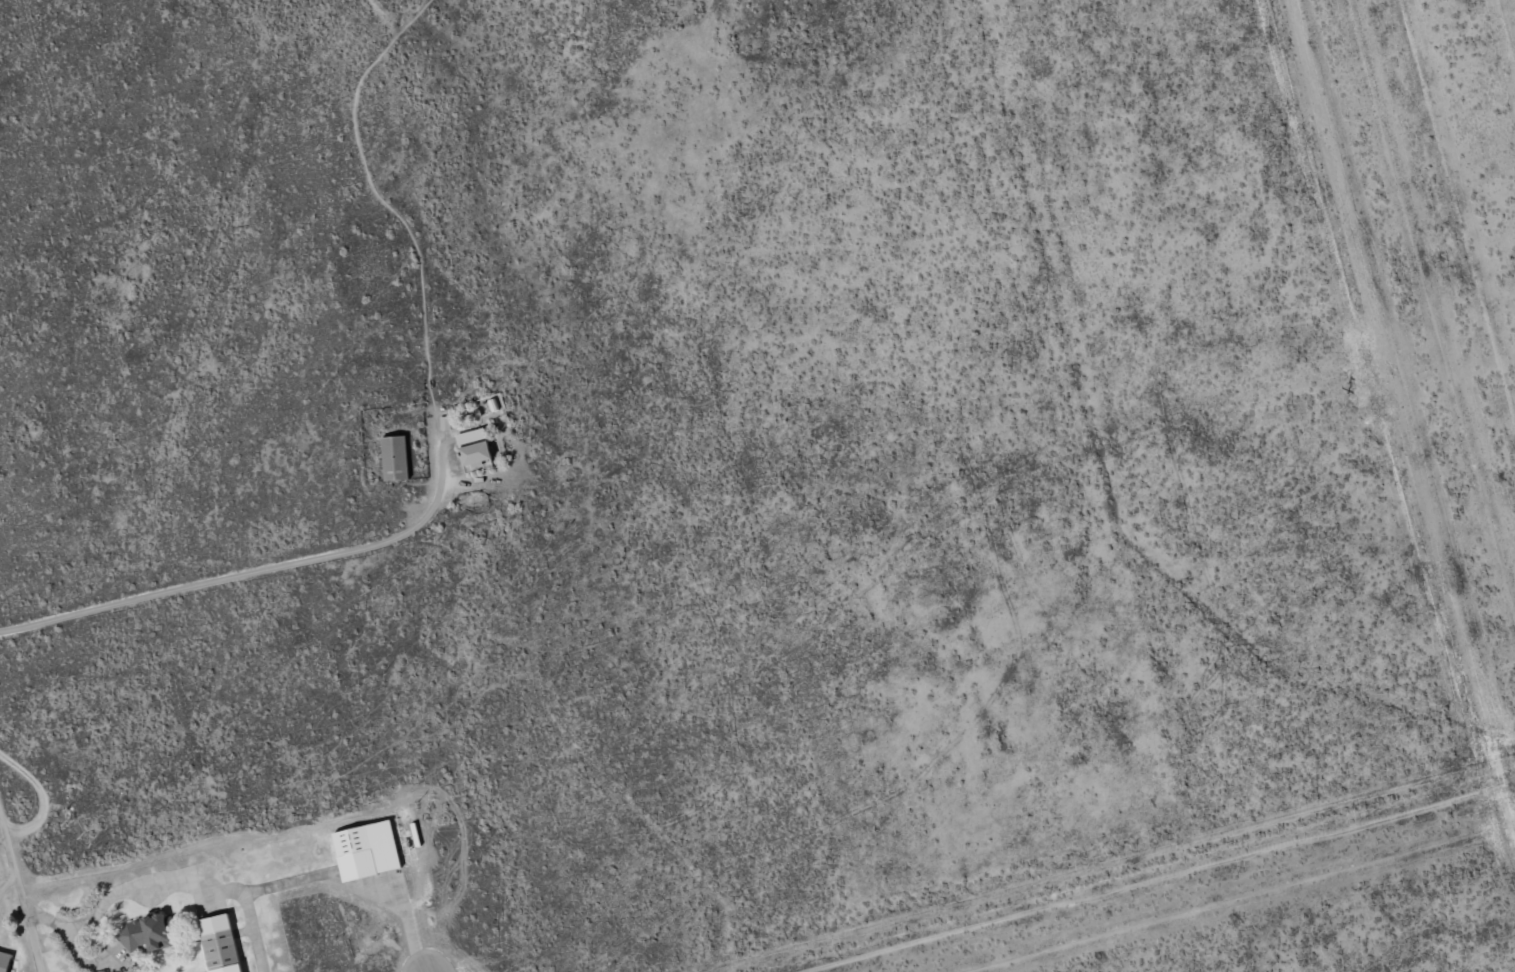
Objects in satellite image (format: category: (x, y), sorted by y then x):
building: (445, 422)
building: (479, 454)
building: (396, 458)
road: (246, 576)
building: (368, 850)
road: (18, 898)
airport: (10, 933)
building: (147, 933)
building: (221, 944)
building: (5, 961)

